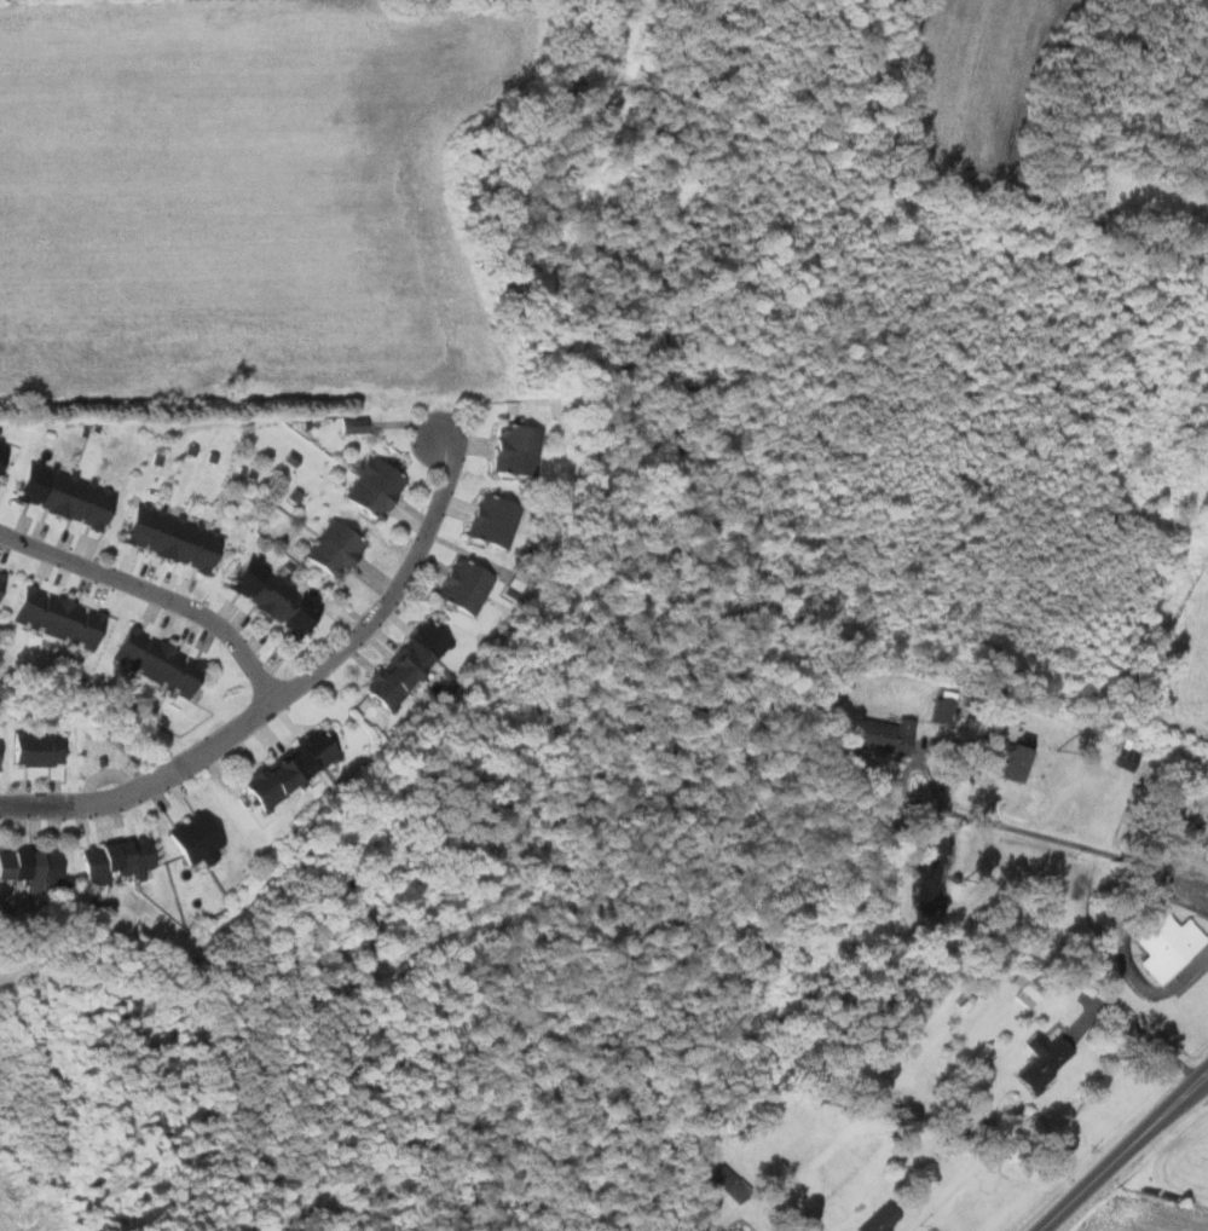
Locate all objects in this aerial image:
building: (352, 423)
building: (522, 450)
building: (5, 457)
building: (378, 486)
building: (65, 496)
building: (497, 519)
building: (173, 539)
building: (339, 548)
building: (470, 582)
building: (4, 586)
road: (155, 591)
building: (277, 599)
building: (62, 618)
road: (352, 641)
building: (412, 660)
building: (162, 664)
building: (938, 711)
building: (879, 734)
building: (42, 750)
building: (1127, 753)
building: (1002, 756)
building: (1, 757)
building: (293, 767)
road: (80, 803)
building: (1206, 815)
building: (201, 836)
road: (1075, 842)
building: (121, 859)
building: (35, 865)
building: (1162, 943)
building: (1039, 1059)
road: (1128, 1156)
building: (722, 1175)

